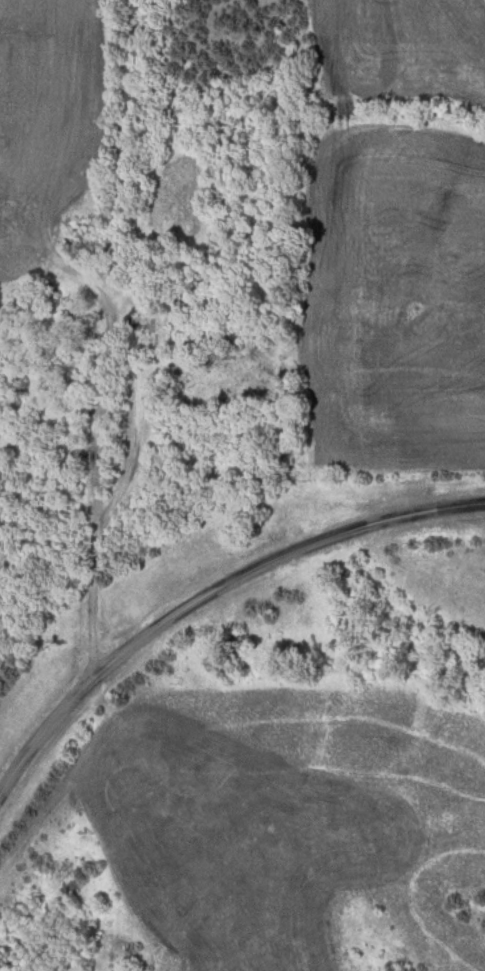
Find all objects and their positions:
road: (150, 329)
road: (208, 591)

